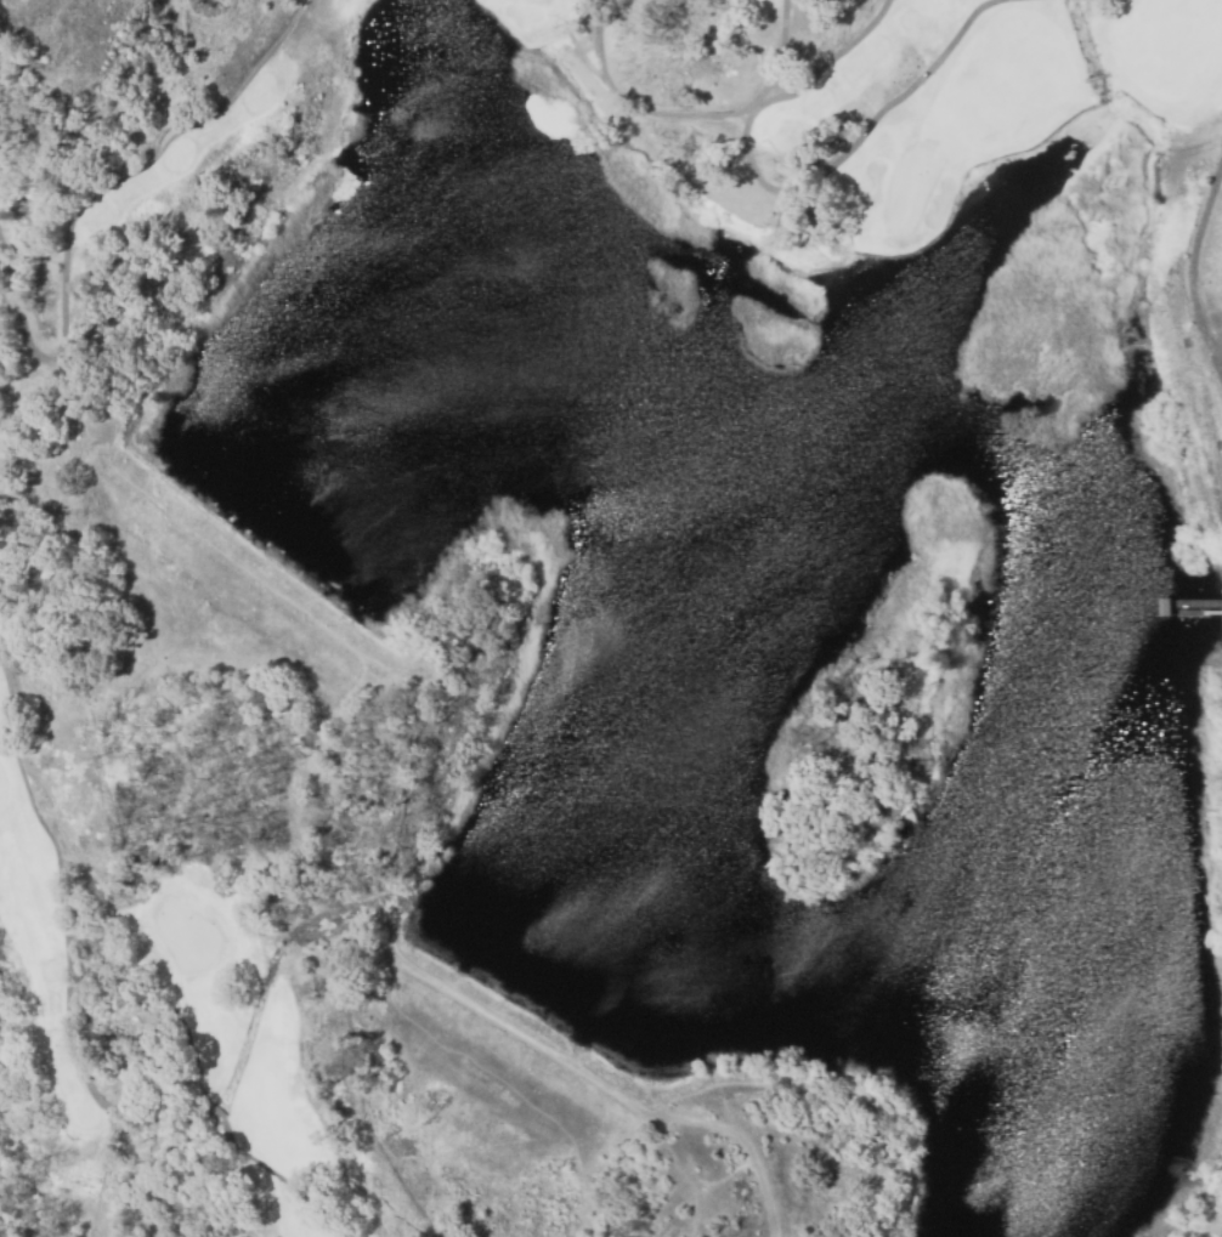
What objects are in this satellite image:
road: (802, 33)
park: (115, 110)
park: (964, 159)
road: (786, 192)
road: (1192, 272)
building: (1165, 606)
road: (313, 619)
park: (396, 841)
road: (262, 982)
park: (138, 1050)
road: (547, 1050)
road: (515, 1100)
road: (662, 1107)
road: (698, 1113)
road: (674, 1161)
road: (713, 1186)
road: (588, 1224)

